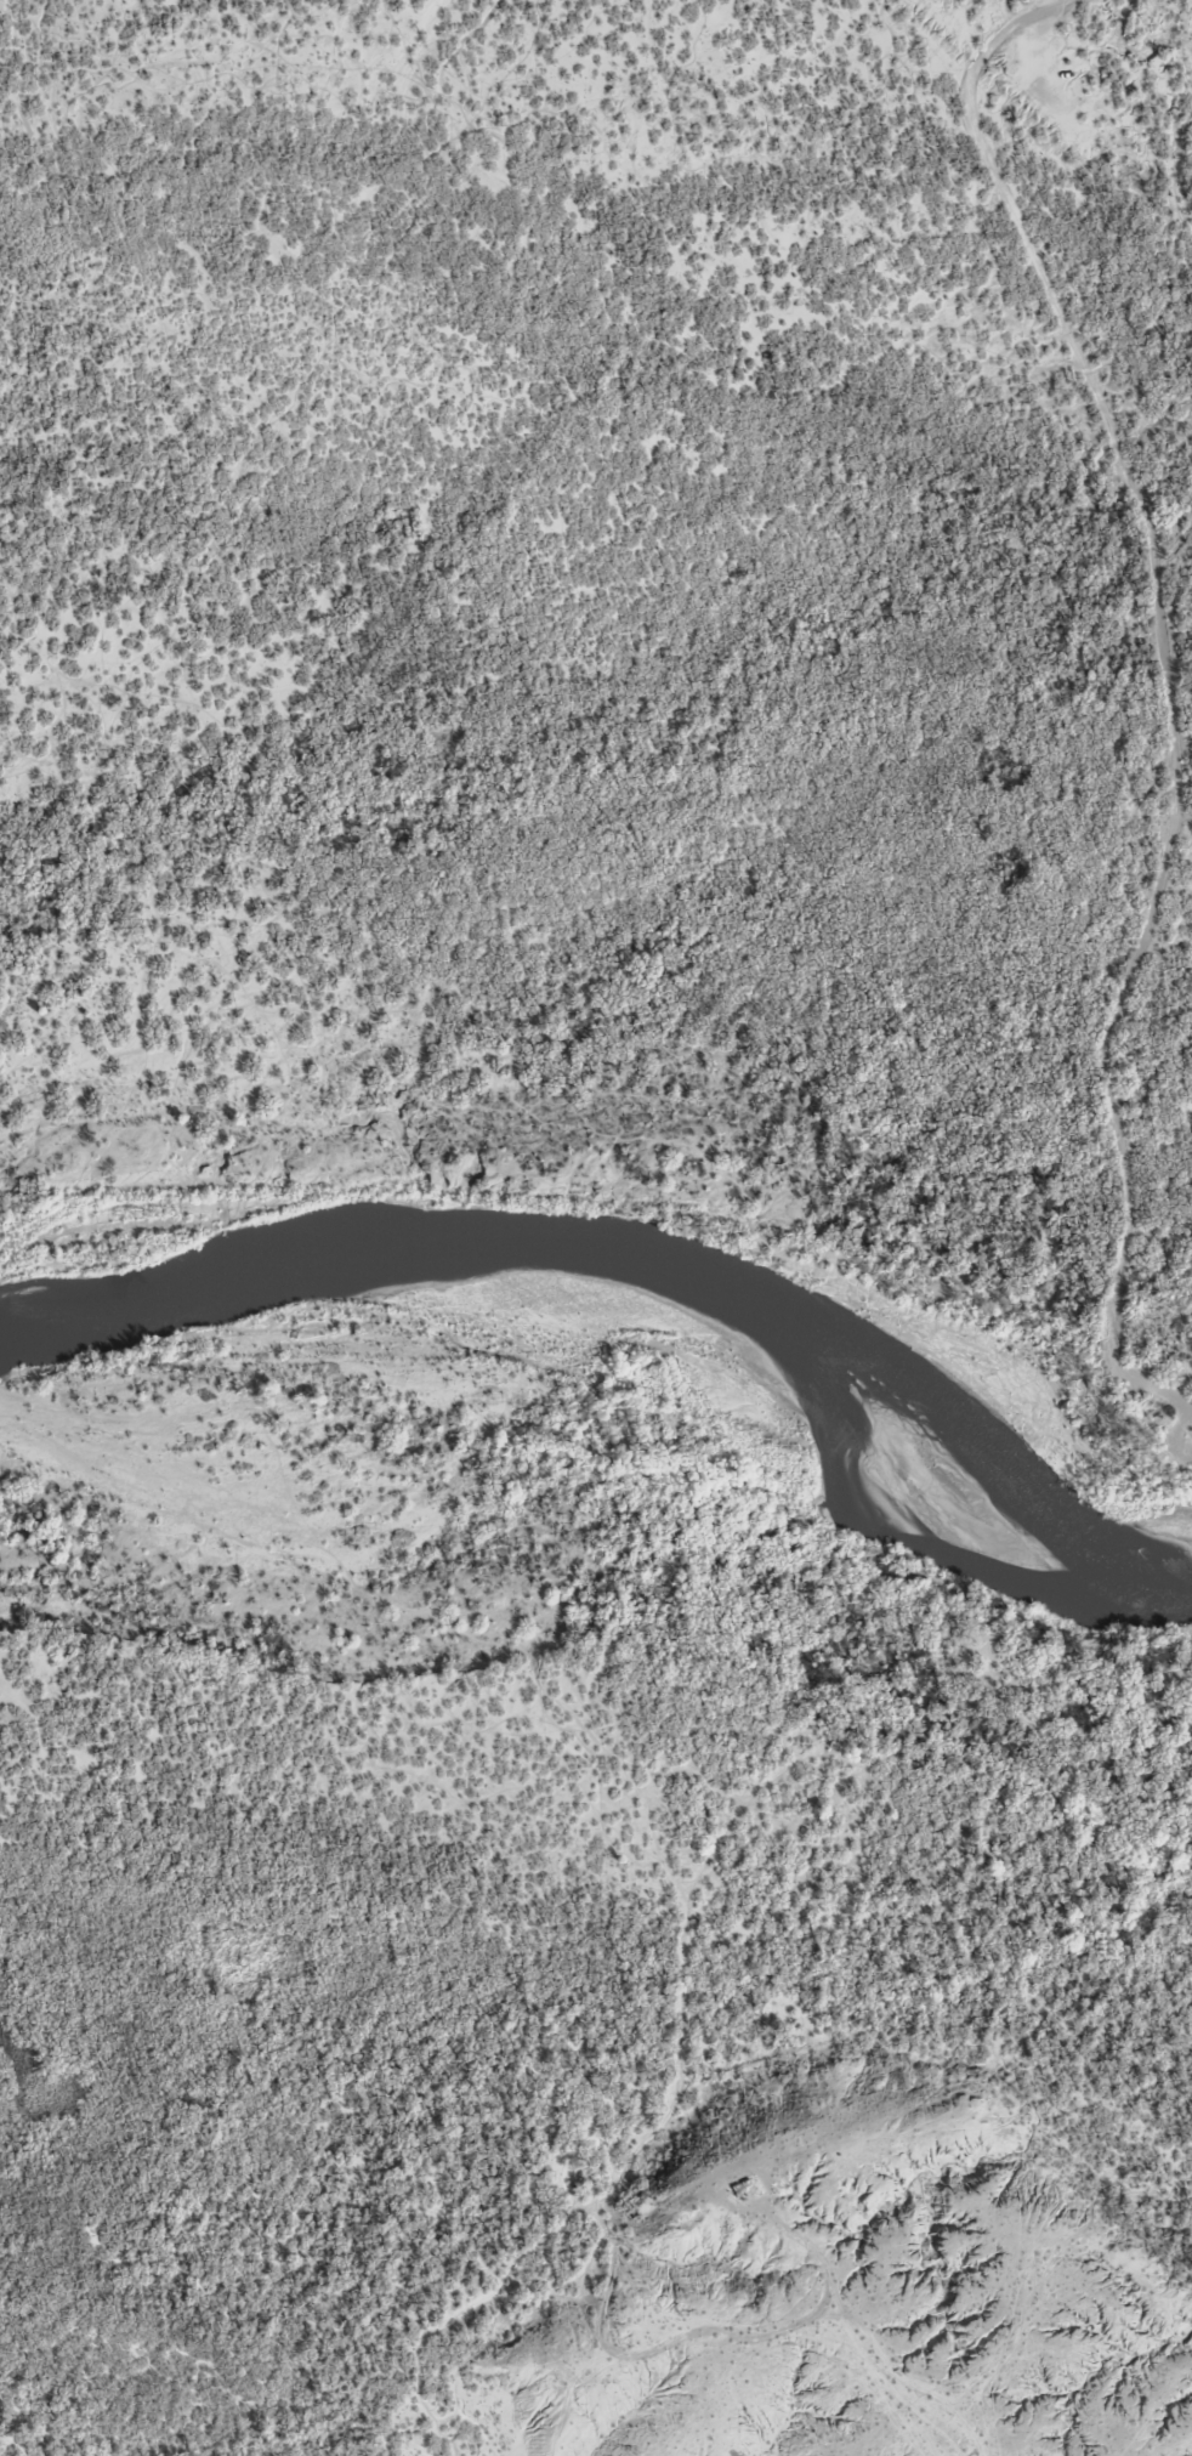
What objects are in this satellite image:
road: (1023, 50)
parking lot: (1034, 86)
road: (1136, 138)
road: (1165, 686)
river: (598, 1409)

